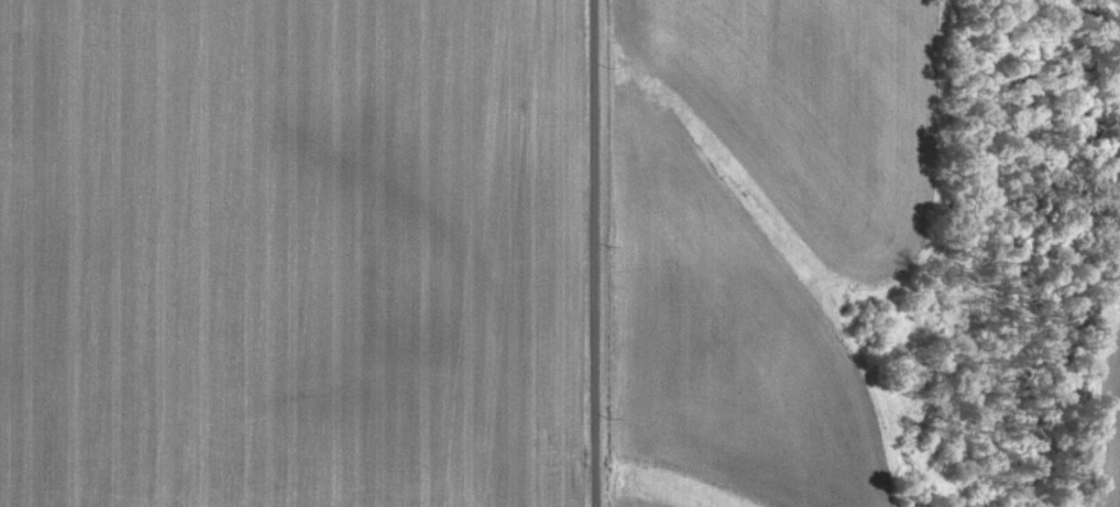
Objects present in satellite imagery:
road: (592, 253)

